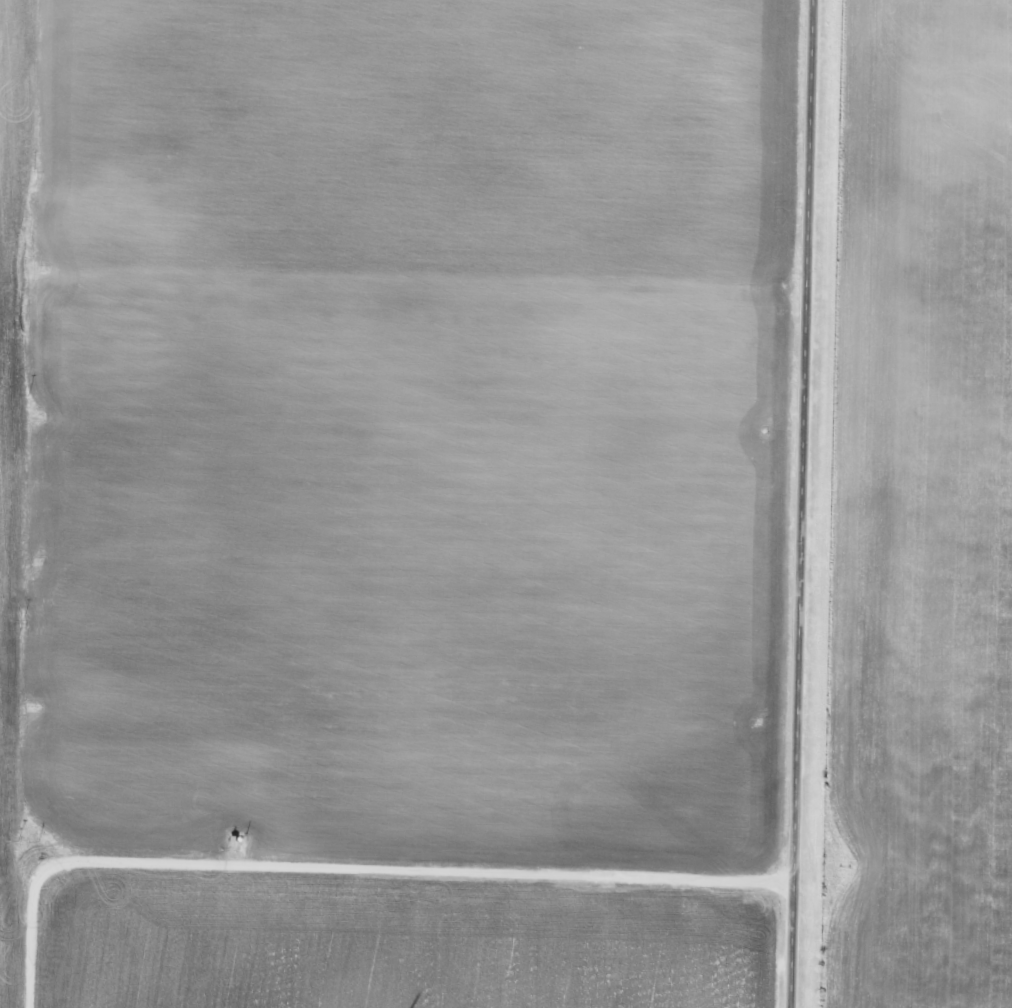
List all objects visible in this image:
road: (801, 504)

